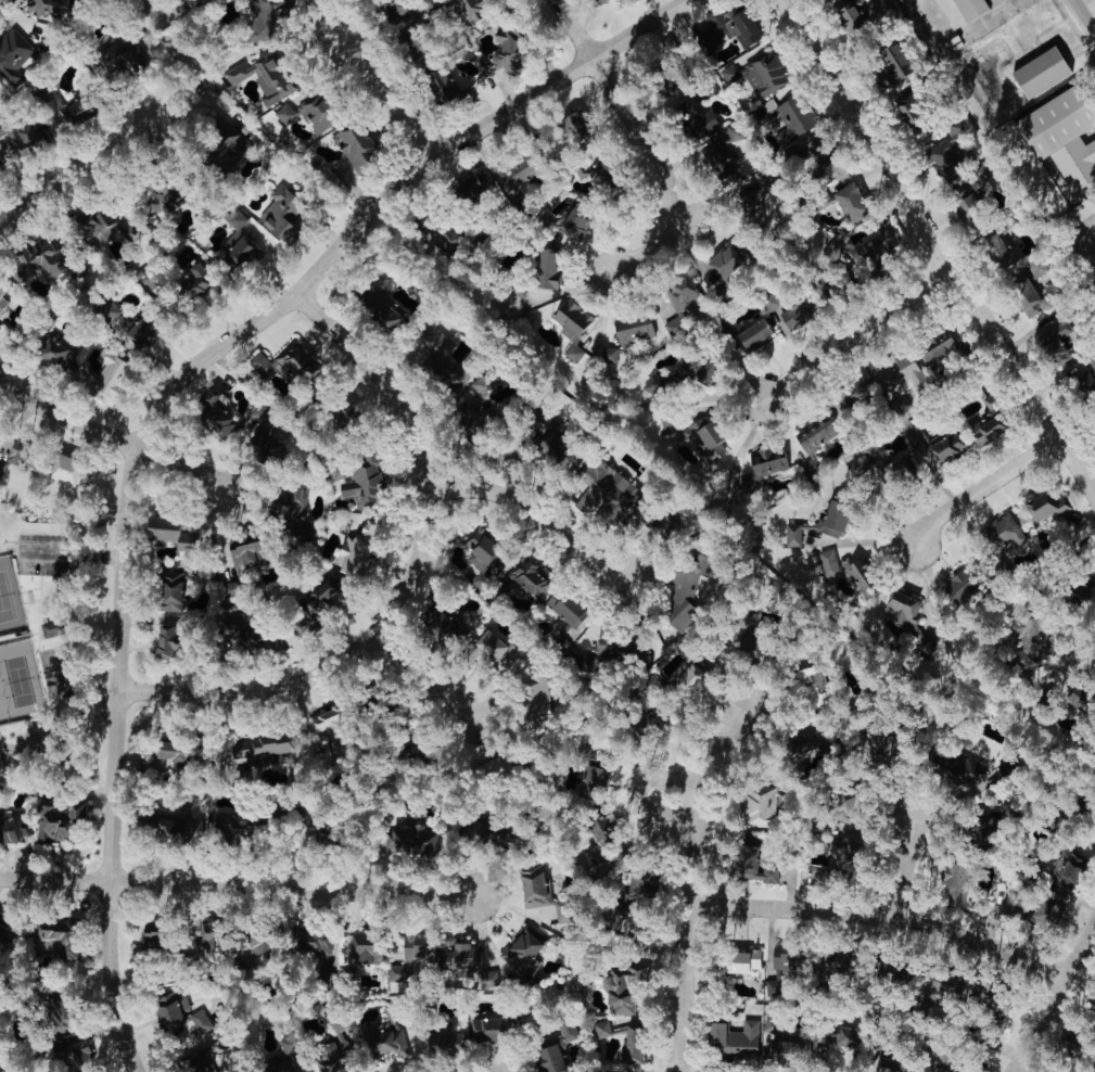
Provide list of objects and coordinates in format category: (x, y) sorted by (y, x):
building: (1003, 0)
building: (600, 1)
building: (46, 5)
building: (399, 9)
building: (970, 9)
building: (467, 12)
building: (264, 16)
road: (1083, 16)
building: (854, 17)
road: (972, 26)
building: (730, 27)
road: (574, 29)
building: (407, 50)
building: (119, 51)
building: (505, 52)
building: (14, 55)
building: (890, 64)
building: (1039, 71)
building: (765, 74)
building: (262, 77)
building: (664, 79)
building: (441, 84)
building: (709, 87)
road: (389, 95)
building: (307, 112)
building: (907, 112)
building: (793, 117)
building: (693, 118)
building: (1053, 120)
building: (574, 124)
building: (953, 124)
building: (29, 135)
building: (222, 139)
building: (355, 145)
building: (817, 155)
building: (943, 156)
building: (1077, 159)
building: (723, 161)
building: (0, 164)
road: (79, 166)
road: (660, 167)
building: (517, 170)
building: (588, 171)
building: (481, 180)
road: (390, 195)
building: (823, 197)
building: (160, 200)
building: (972, 200)
building: (850, 201)
building: (750, 207)
building: (280, 210)
building: (235, 217)
road: (675, 219)
building: (573, 222)
building: (104, 224)
road: (942, 242)
building: (833, 250)
building: (999, 250)
building: (241, 253)
building: (36, 258)
building: (723, 263)
building: (1036, 266)
building: (547, 268)
road: (1078, 278)
building: (1094, 279)
building: (193, 281)
building: (1026, 295)
building: (2, 297)
building: (680, 301)
building: (384, 306)
building: (106, 308)
building: (793, 314)
building: (573, 324)
building: (754, 332)
building: (141, 333)
building: (627, 334)
road: (858, 341)
building: (1060, 341)
building: (934, 344)
building: (55, 352)
building: (441, 359)
building: (296, 361)
building: (901, 371)
building: (99, 374)
building: (1082, 382)
building: (481, 383)
building: (653, 384)
building: (855, 388)
building: (469, 405)
building: (342, 410)
building: (216, 414)
road: (66, 418)
building: (99, 429)
building: (984, 430)
building: (703, 432)
building: (815, 433)
building: (267, 442)
building: (549, 444)
road: (416, 447)
building: (945, 447)
road: (183, 464)
building: (764, 464)
building: (1, 469)
building: (881, 469)
building: (71, 472)
building: (364, 480)
road: (984, 488)
building: (604, 490)
building: (291, 502)
building: (1046, 505)
road: (530, 506)
building: (833, 518)
building: (655, 522)
building: (1006, 529)
building: (168, 531)
building: (1070, 531)
building: (793, 534)
building: (357, 550)
building: (243, 552)
road: (74, 553)
building: (481, 554)
building: (849, 570)
building: (526, 574)
road: (616, 574)
building: (960, 583)
building: (178, 584)
building: (684, 590)
building: (1078, 591)
building: (315, 604)
building: (565, 605)
building: (902, 607)
building: (743, 621)
building: (434, 624)
building: (51, 627)
building: (260, 638)
building: (164, 640)
building: (1027, 640)
building: (612, 643)
building: (492, 645)
park: (17, 650)
road: (424, 674)
building: (688, 681)
building: (813, 685)
road: (255, 691)
building: (1074, 695)
building: (455, 697)
building: (534, 702)
building: (326, 719)
building: (807, 743)
building: (173, 749)
building: (871, 752)
road: (122, 760)
building: (491, 765)
building: (958, 766)
building: (595, 777)
road: (638, 794)
building: (842, 804)
building: (761, 807)
building: (225, 819)
building: (56, 820)
building: (976, 827)
building: (177, 828)
building: (597, 828)
building: (21, 830)
building: (411, 838)
building: (851, 846)
building: (752, 864)
road: (908, 865)
building: (1069, 869)
building: (953, 873)
road: (700, 877)
building: (641, 884)
road: (237, 885)
building: (535, 885)
building: (1047, 910)
road: (888, 917)
building: (14, 928)
building: (149, 935)
building: (69, 939)
building: (257, 940)
building: (212, 944)
building: (314, 945)
building: (521, 949)
building: (410, 955)
building: (359, 956)
building: (741, 960)
building: (787, 960)
building: (470, 962)
building: (832, 965)
building: (951, 985)
building: (613, 987)
road: (1057, 999)
building: (173, 1007)
building: (76, 1008)
building: (997, 1019)
building: (199, 1021)
building: (772, 1022)
building: (603, 1028)
building: (489, 1029)
building: (845, 1036)
building: (445, 1038)
building: (383, 1039)
building: (733, 1039)
building: (557, 1045)
building: (1071, 1047)
building: (633, 1051)
building: (91, 1056)
building: (327, 1056)
building: (195, 1061)
building: (273, 1062)
building: (626, 1067)
building: (883, 1069)
building: (946, 1071)

